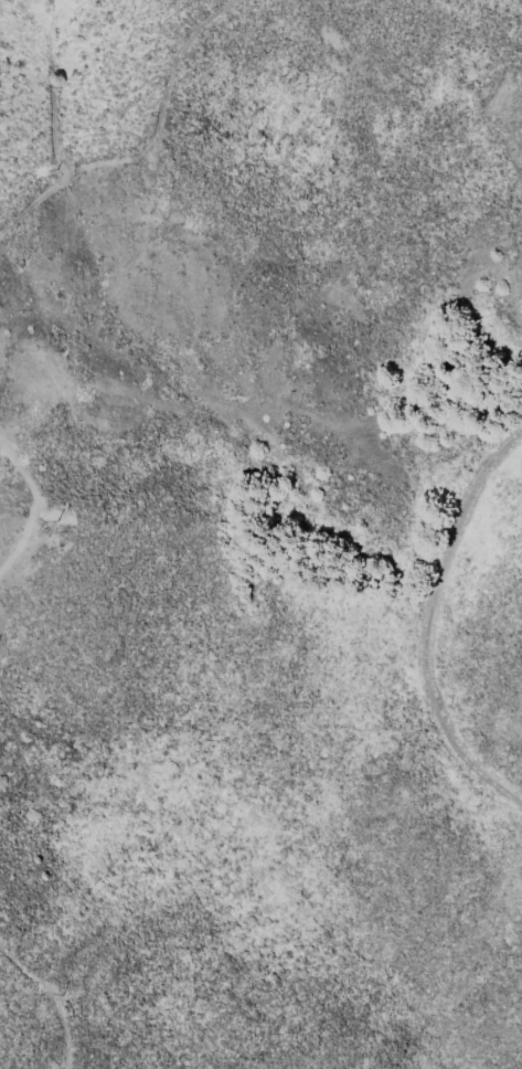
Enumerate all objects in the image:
road: (159, 104)
road: (52, 125)
road: (29, 498)
park: (24, 511)
road: (426, 624)
road: (50, 1001)

